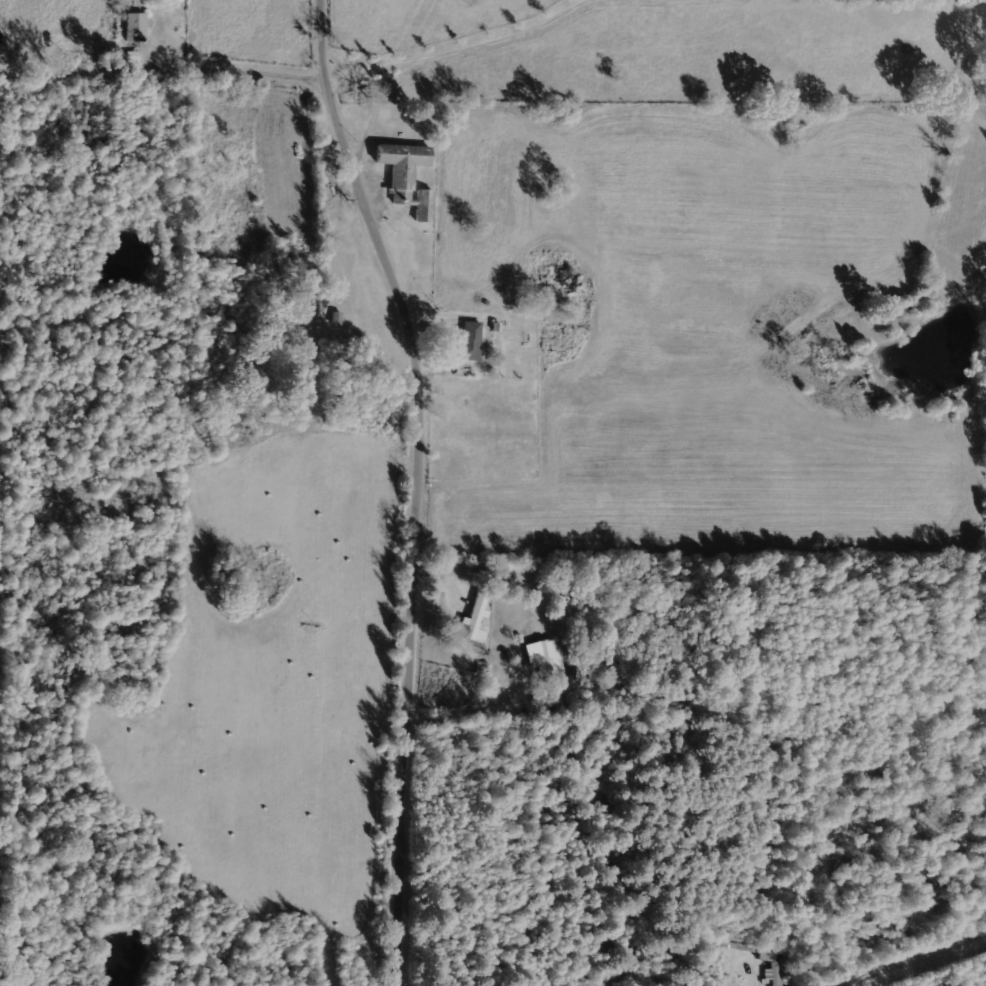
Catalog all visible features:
building: (133, 26)
road: (398, 59)
building: (406, 176)
building: (468, 340)
road: (424, 486)
building: (472, 620)
building: (548, 666)
road: (511, 718)
building: (775, 973)

